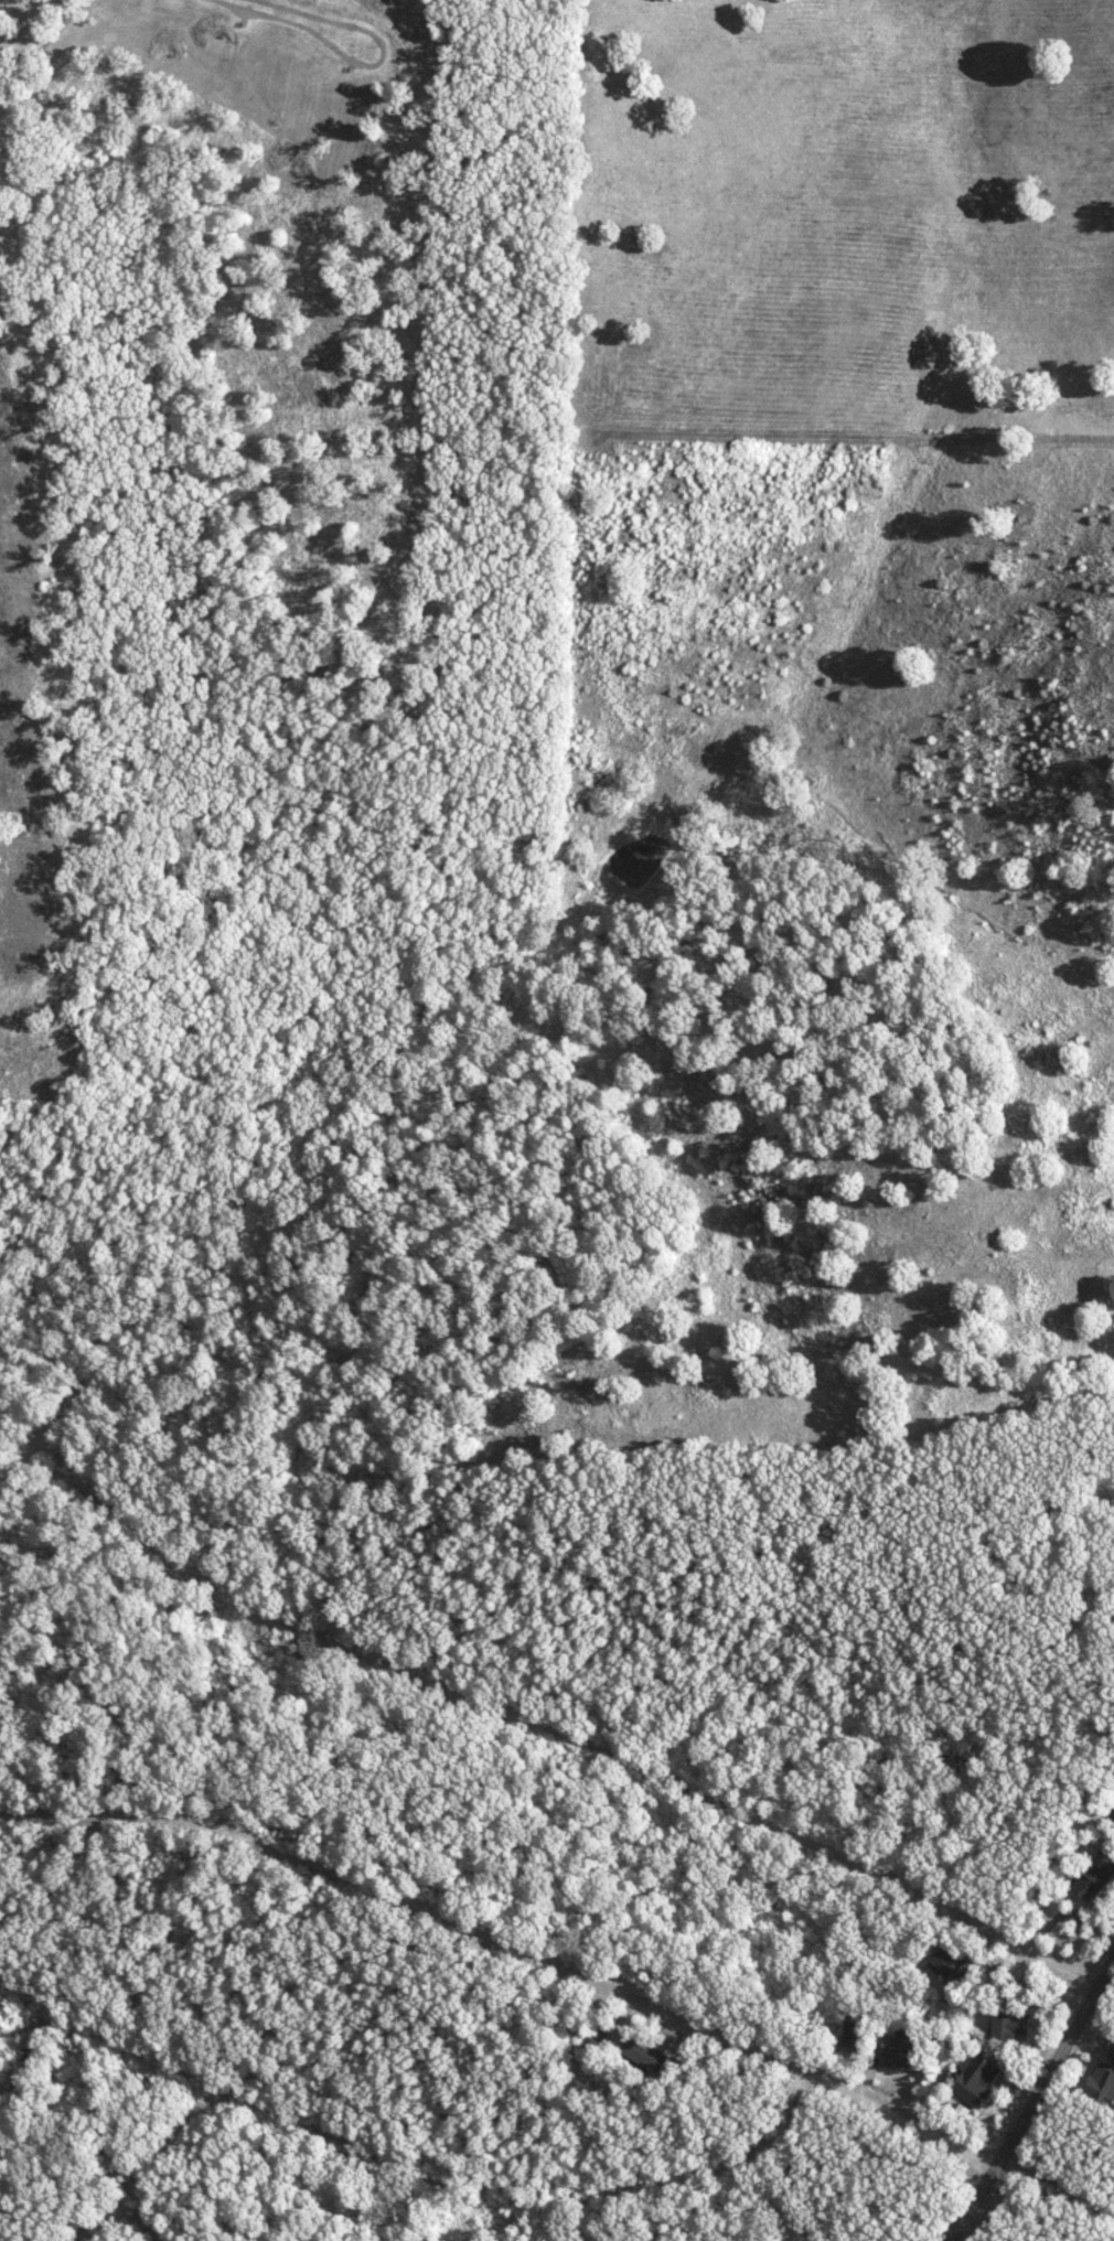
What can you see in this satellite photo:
road: (531, 1720)
building: (1095, 1876)
road: (510, 1945)
building: (952, 1961)
building: (1009, 2024)
building: (602, 2039)
building: (647, 2055)
building: (978, 2079)
building: (1104, 2082)
road: (1031, 2097)
road: (428, 2177)
road: (129, 2192)
road: (129, 2216)
road: (419, 2235)

